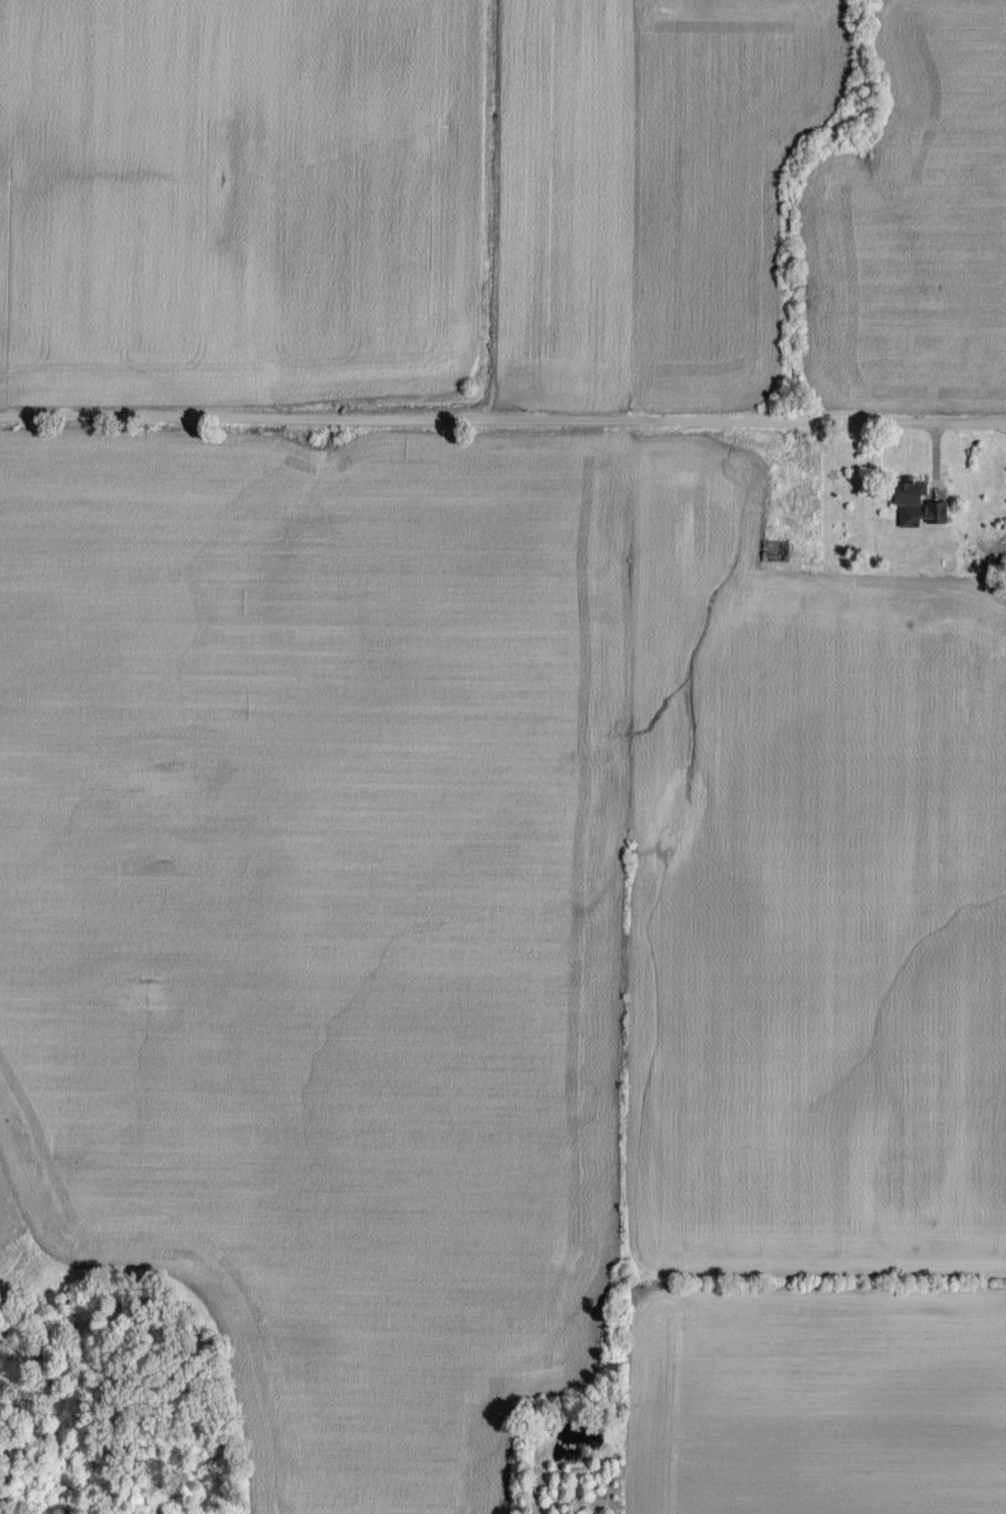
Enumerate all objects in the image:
road: (502, 420)
building: (904, 495)
building: (997, 505)
building: (998, 536)
building: (774, 552)

